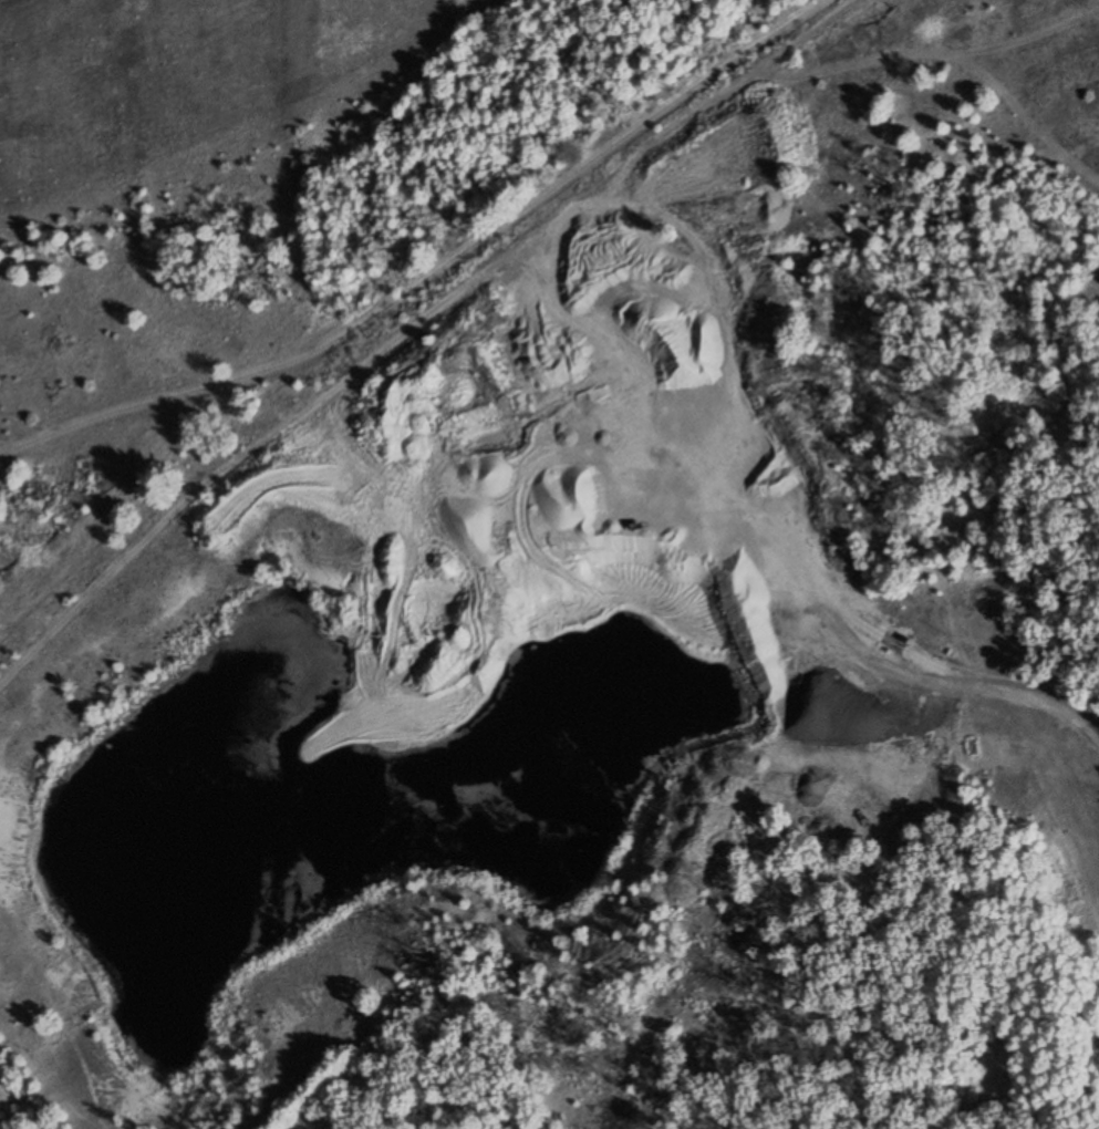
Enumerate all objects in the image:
airport: (152, 62)

